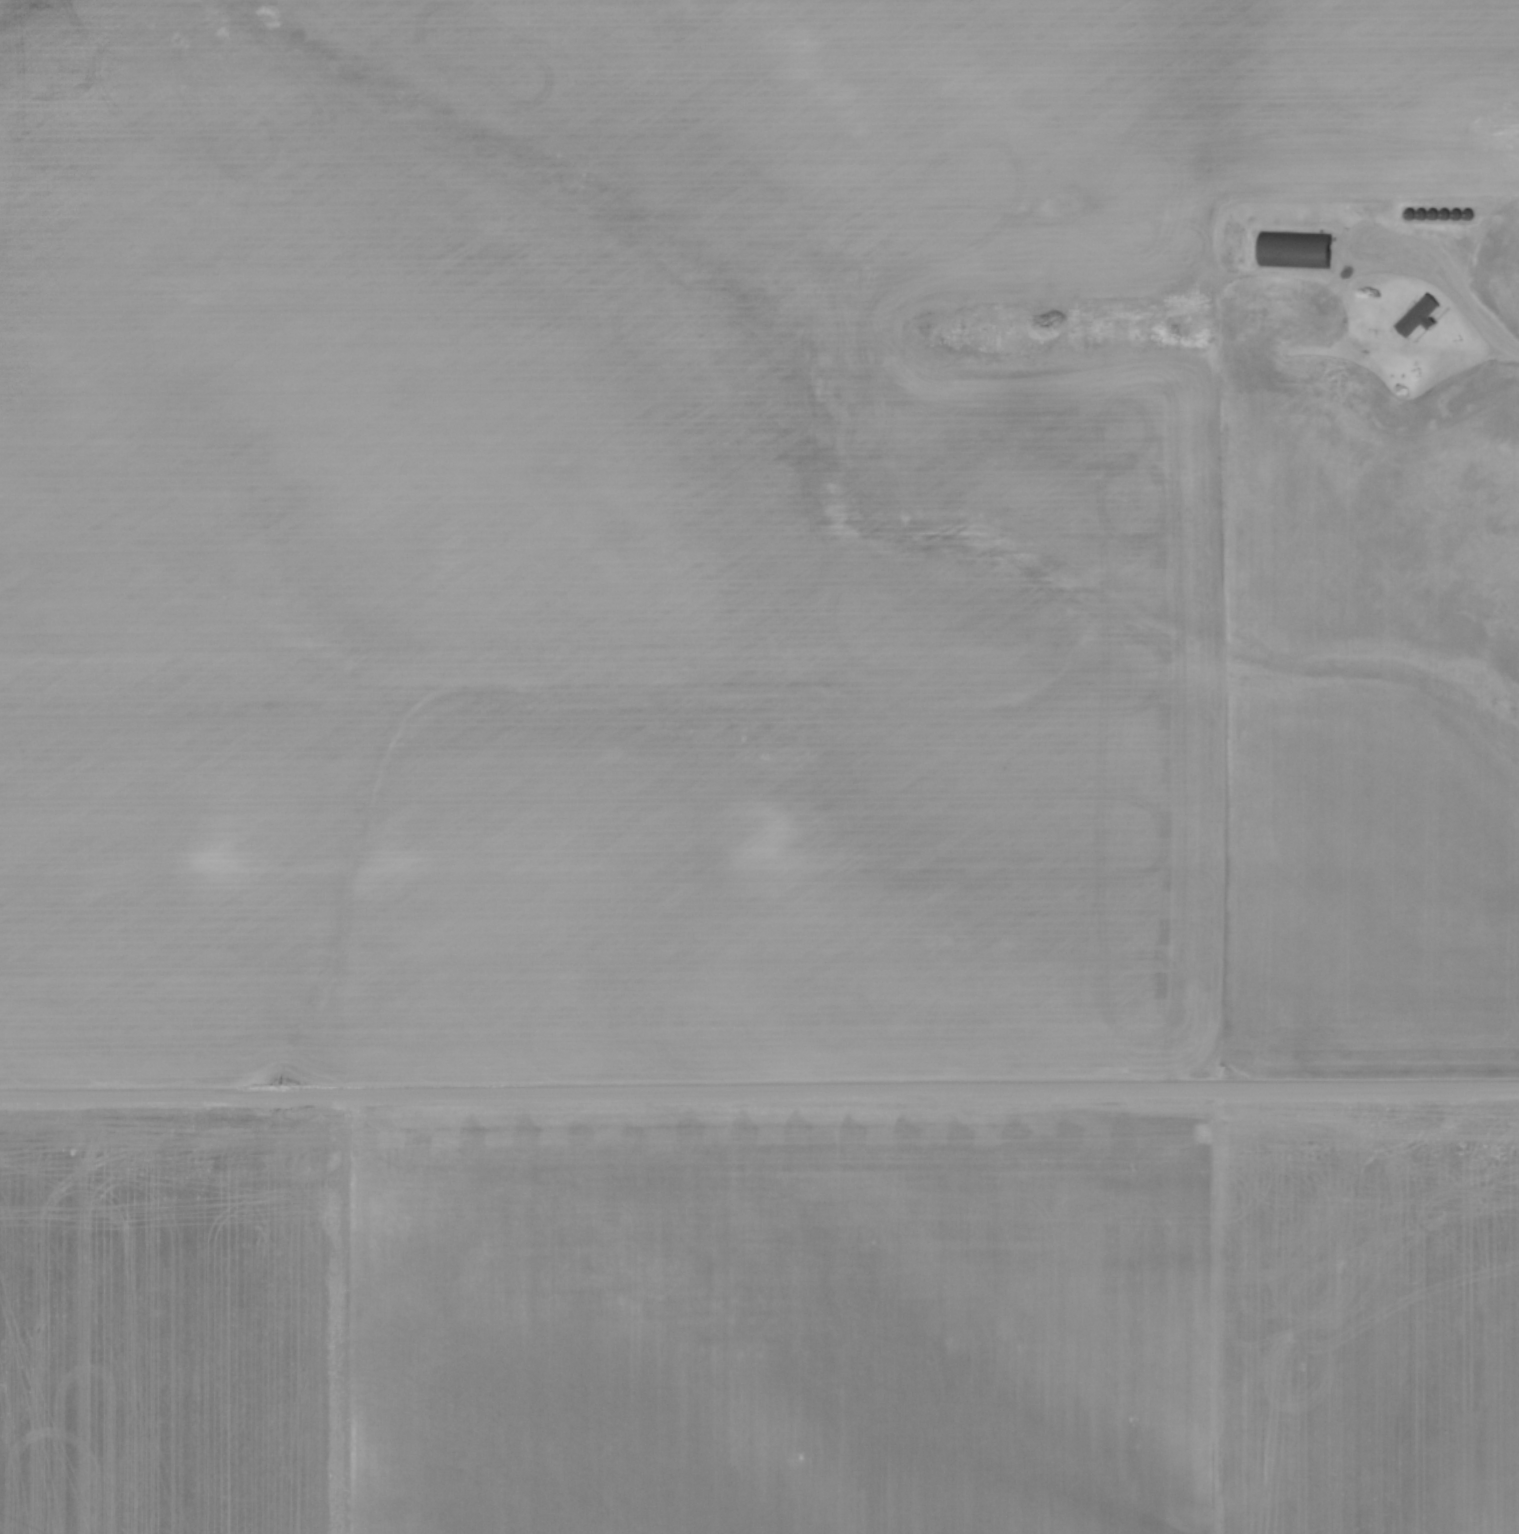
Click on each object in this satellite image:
silo: (1422, 213)
silo: (1434, 213)
silo: (1446, 213)
silo: (1469, 213)
silo: (1409, 214)
silo: (1458, 214)
silo: (1481, 214)
building: (1296, 249)
building: (1420, 315)
road: (1390, 348)
crop: (740, 545)
road: (759, 1092)
crop: (762, 1320)

